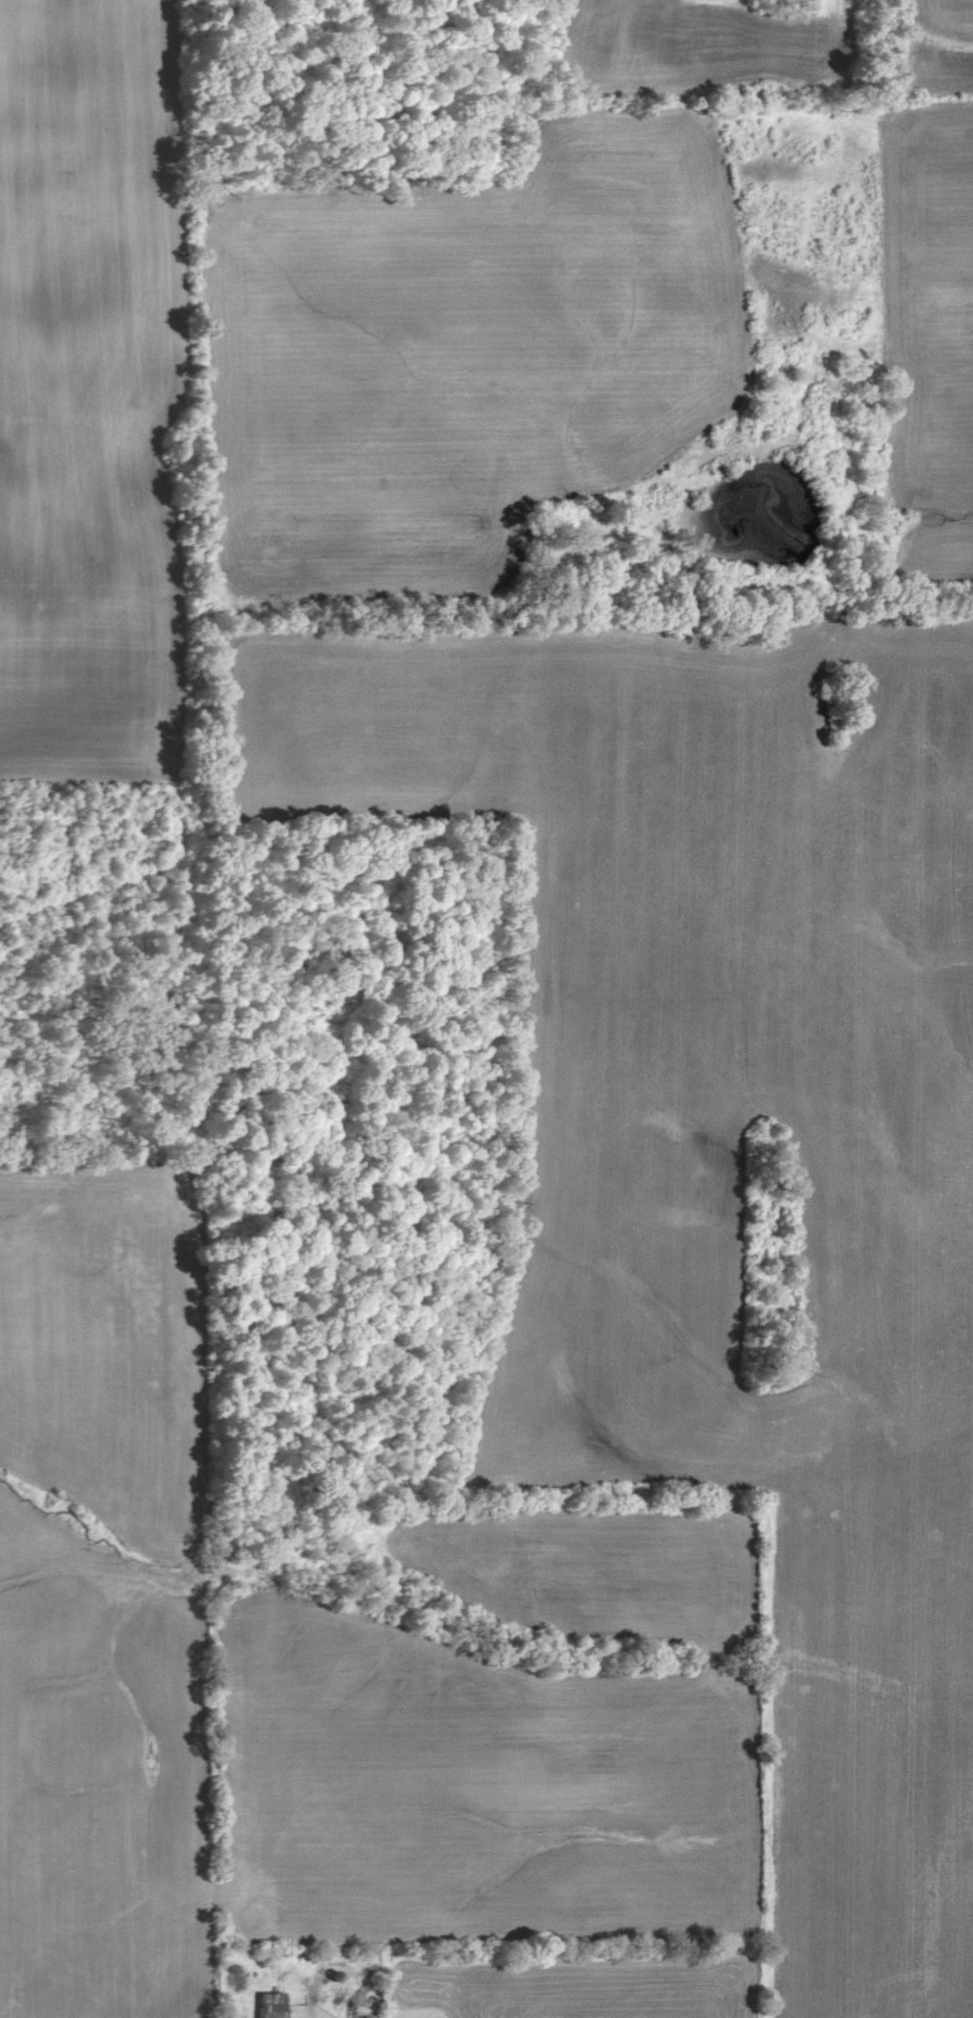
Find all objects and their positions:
building: (269, 2004)

